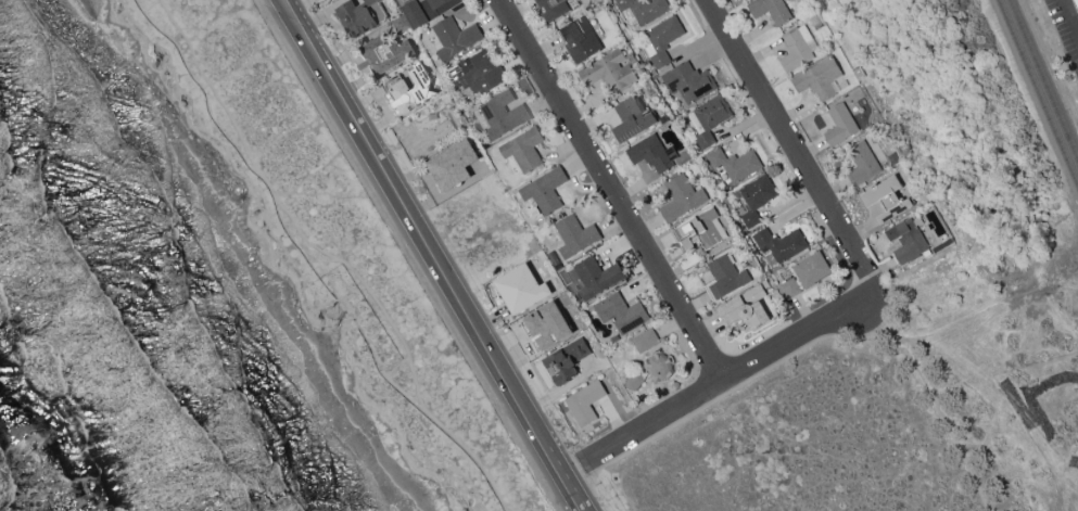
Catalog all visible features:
building: (436, 3)
building: (1076, 4)
building: (554, 8)
building: (644, 9)
building: (770, 11)
building: (414, 13)
road: (1070, 14)
building: (356, 16)
building: (402, 24)
building: (454, 37)
building: (581, 39)
building: (662, 39)
building: (798, 49)
building: (386, 53)
building: (611, 71)
building: (479, 72)
building: (820, 78)
railway: (1043, 80)
building: (688, 81)
building: (397, 88)
railway: (1038, 93)
building: (503, 114)
building: (633, 117)
building: (709, 119)
building: (840, 125)
road: (788, 144)
building: (524, 149)
building: (652, 153)
building: (893, 157)
building: (736, 164)
building: (862, 164)
building: (452, 165)
road: (607, 190)
building: (544, 192)
building: (681, 197)
building: (754, 199)
building: (886, 200)
building: (700, 230)
building: (575, 235)
building: (908, 240)
building: (781, 243)
building: (942, 245)
road: (428, 255)
road: (334, 256)
building: (553, 258)
building: (811, 269)
building: (726, 277)
building: (594, 278)
building: (520, 285)
building: (790, 288)
building: (566, 298)
road: (867, 302)
building: (746, 308)
building: (621, 312)
road: (784, 324)
building: (549, 325)
building: (612, 340)
building: (645, 341)
building: (567, 360)
building: (659, 366)
road: (726, 375)
building: (633, 381)
road: (761, 388)
road: (731, 389)
road: (1009, 400)
building: (585, 403)
road: (950, 435)

